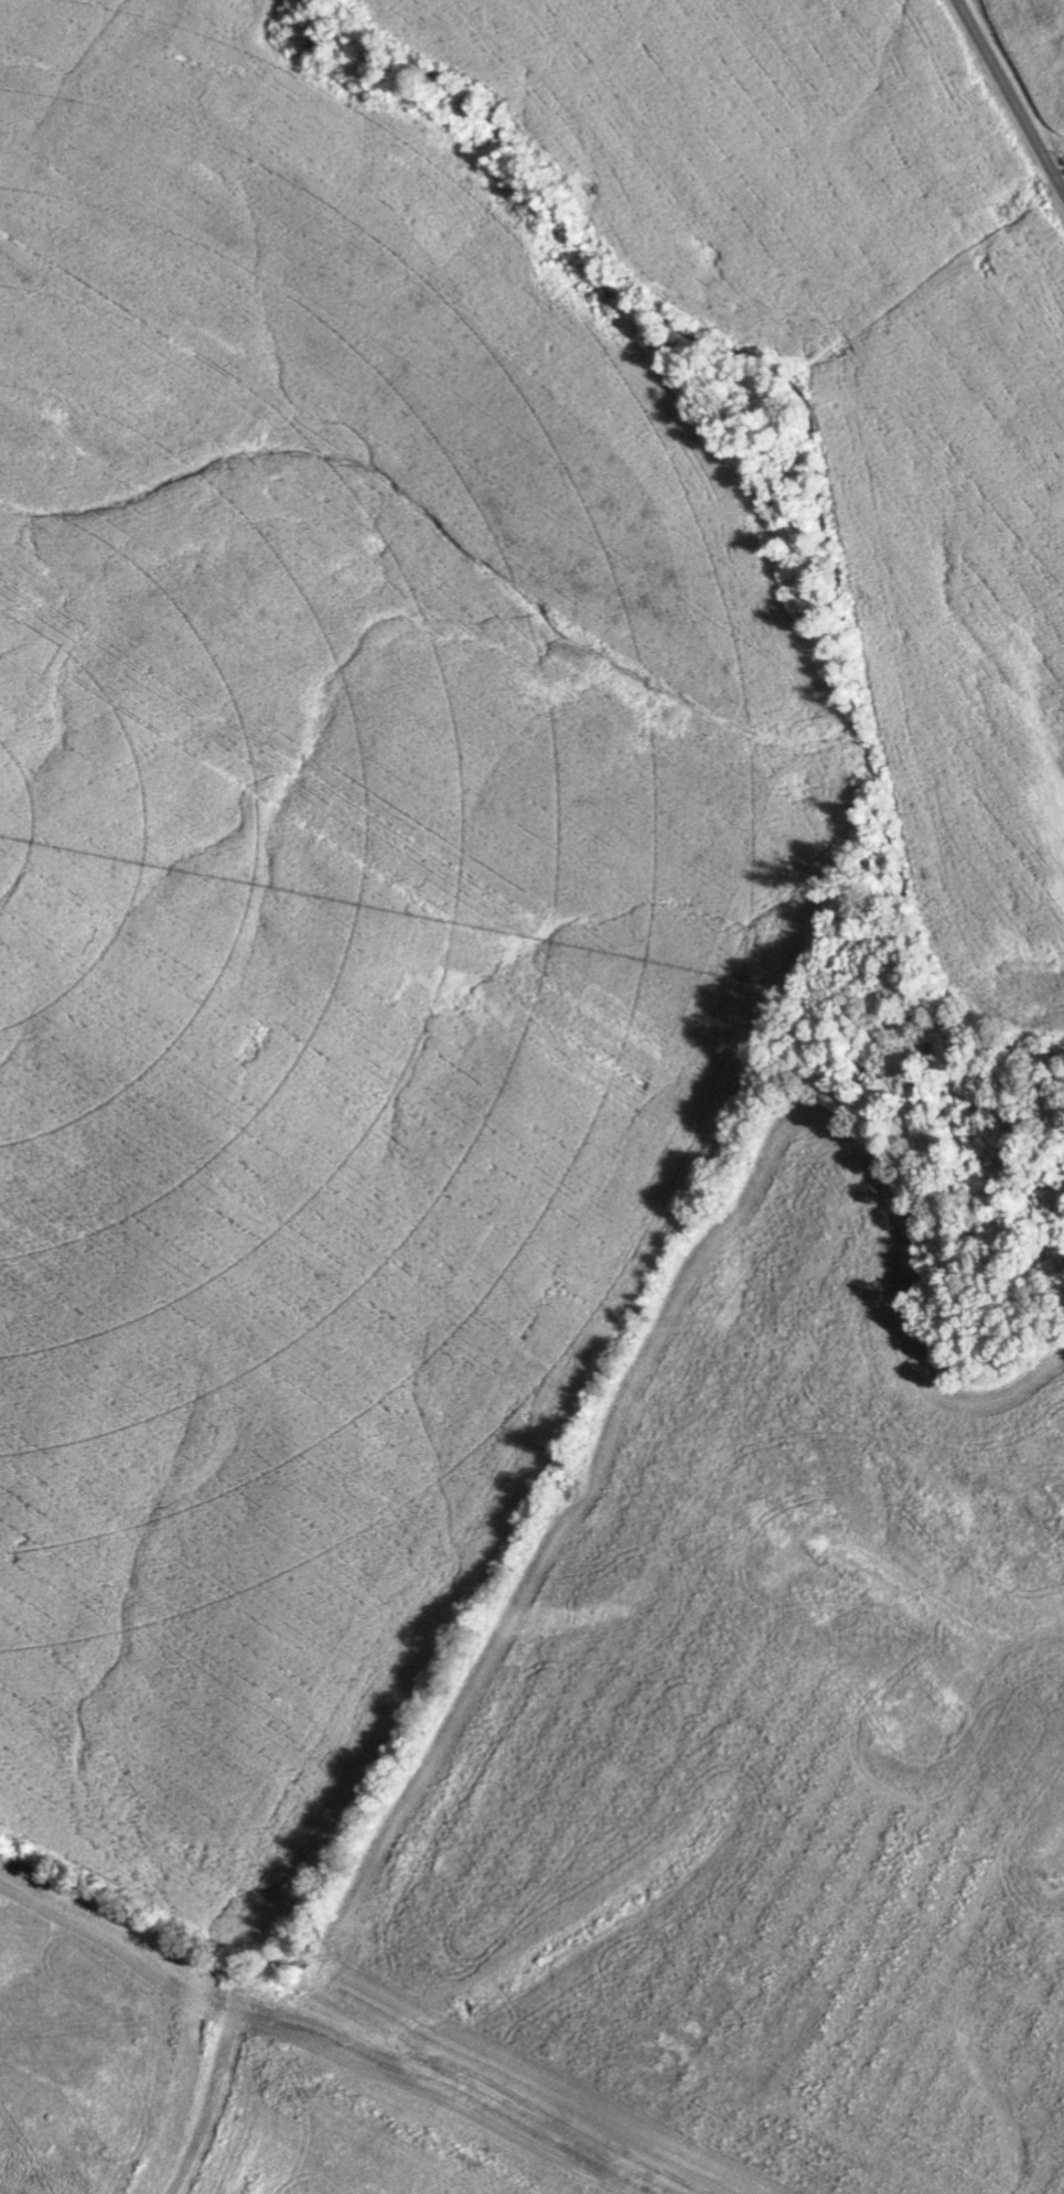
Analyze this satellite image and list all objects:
road: (1011, 93)

